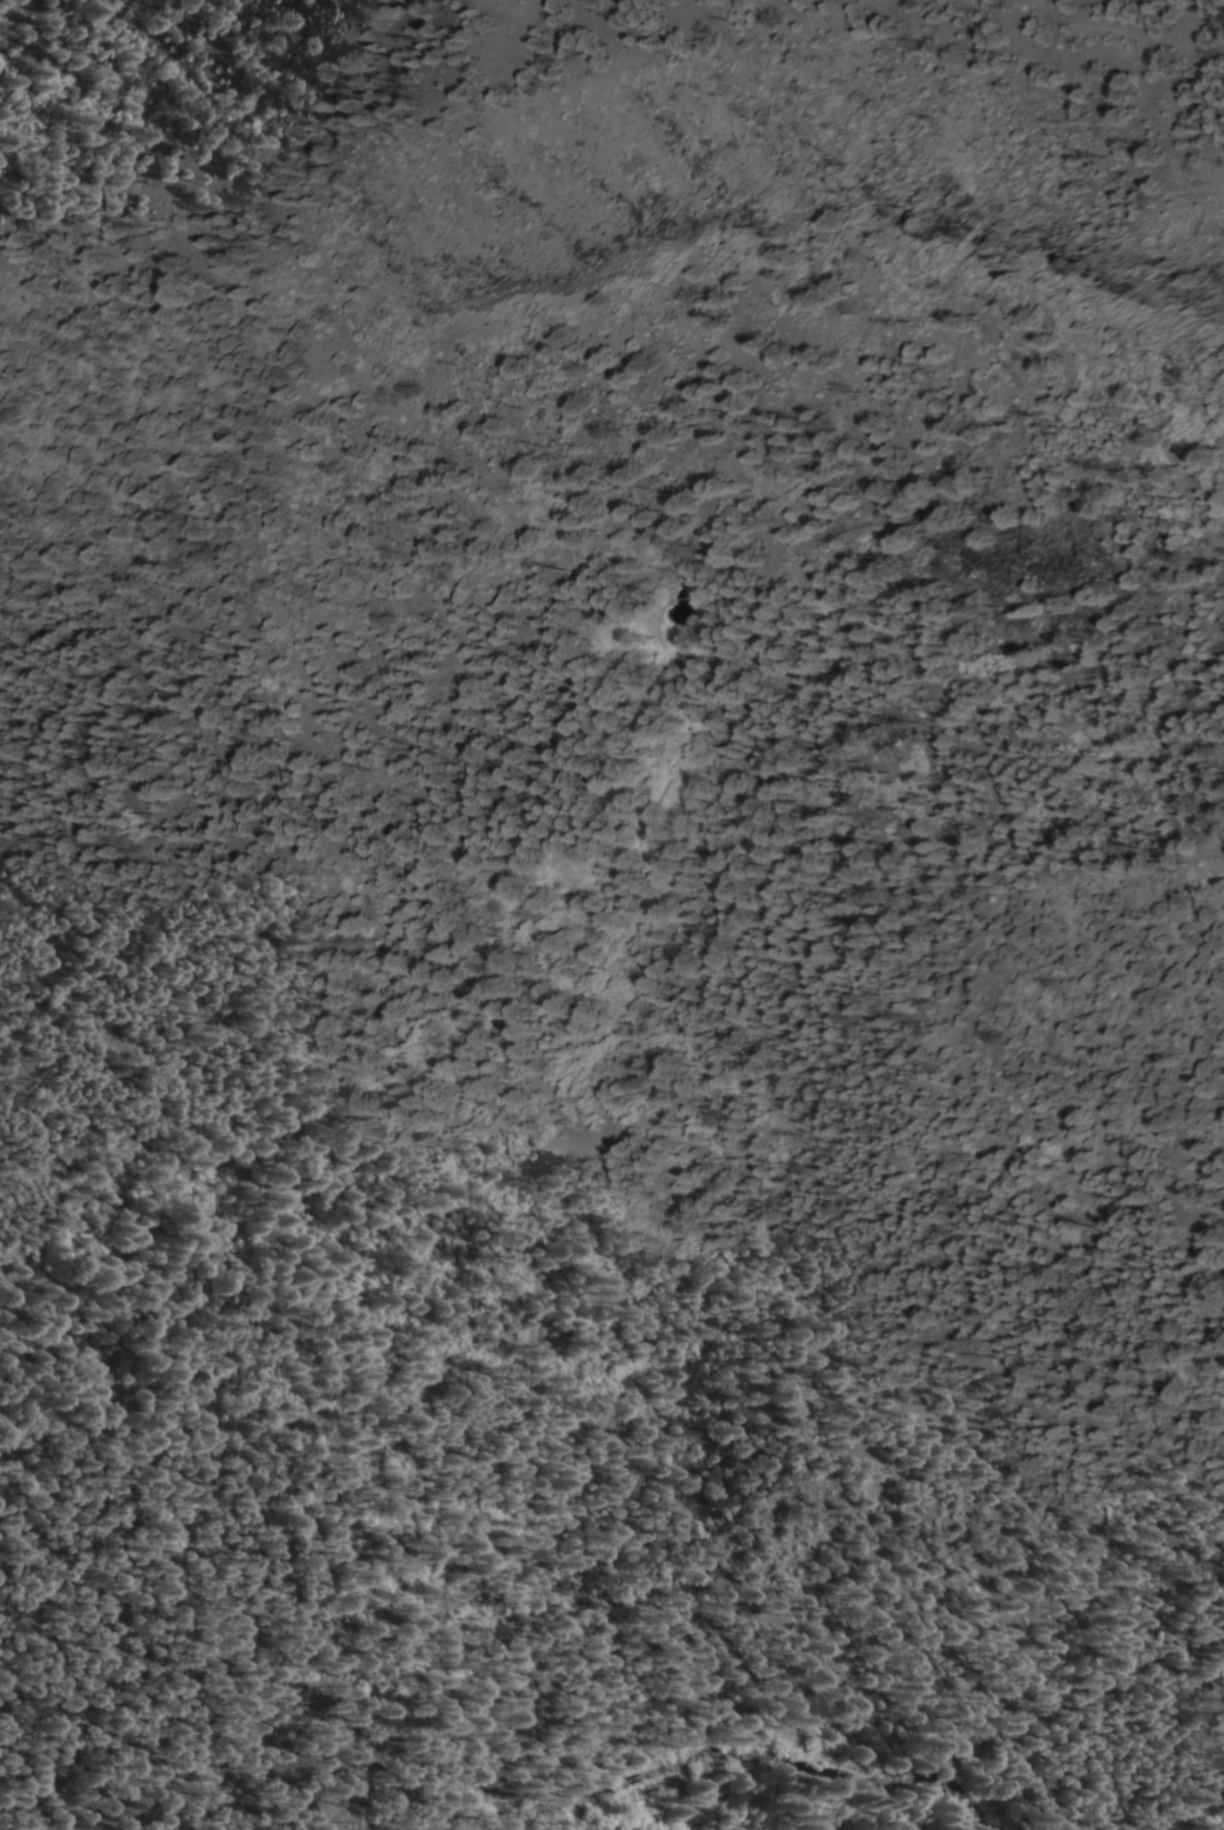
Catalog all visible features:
road: (1095, 34)
road: (298, 201)
road: (707, 776)
road: (305, 1169)

